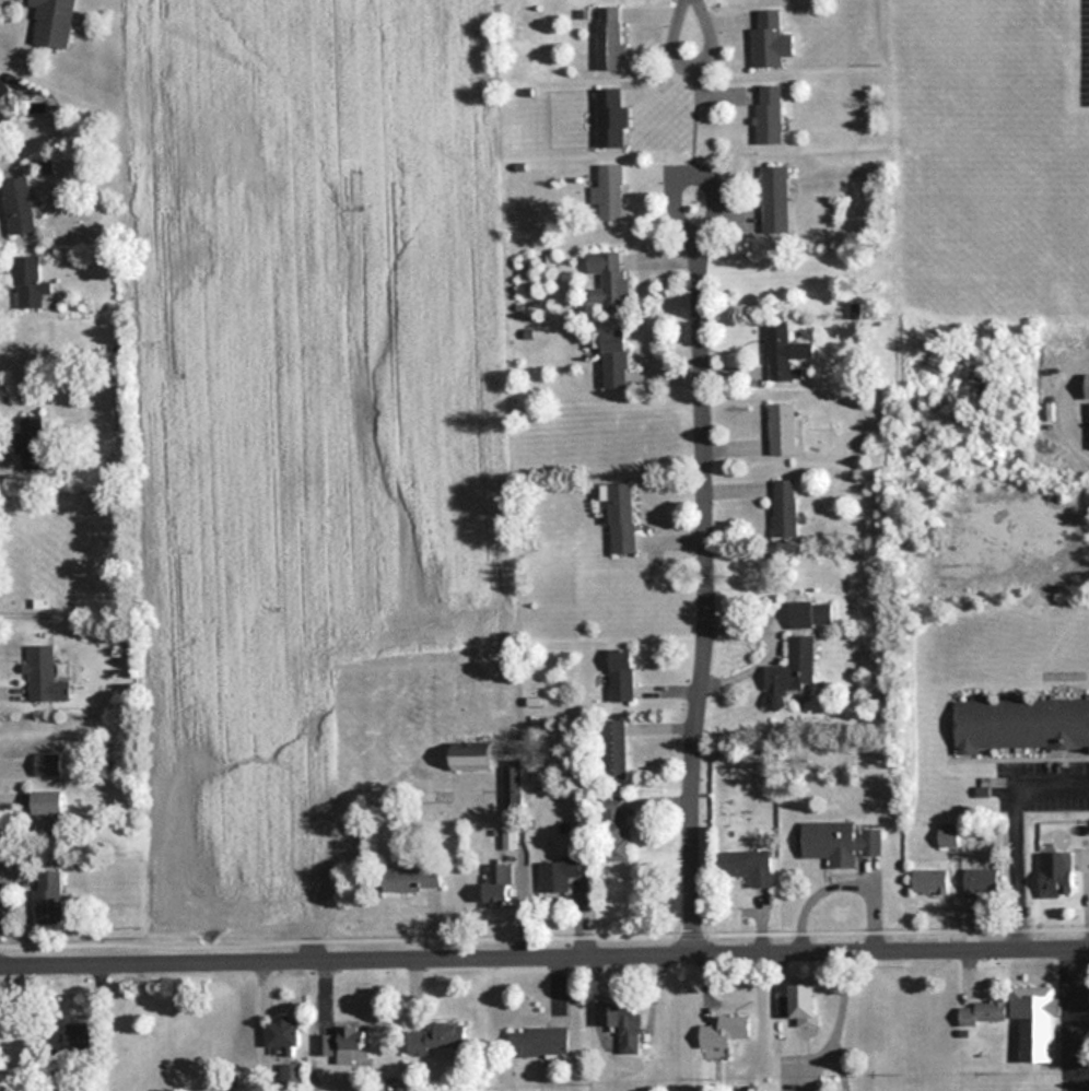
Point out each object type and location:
building: (54, 23)
building: (610, 38)
building: (768, 40)
road: (693, 57)
building: (2, 90)
road: (694, 107)
building: (770, 115)
building: (611, 119)
building: (2, 125)
building: (610, 193)
building: (776, 200)
building: (19, 207)
building: (609, 280)
building: (30, 284)
building: (778, 352)
building: (614, 360)
building: (1087, 387)
building: (783, 429)
building: (30, 434)
building: (785, 506)
road: (705, 508)
building: (620, 515)
building: (811, 613)
building: (795, 665)
building: (621, 673)
building: (44, 676)
building: (1020, 723)
building: (616, 749)
building: (472, 758)
building: (48, 764)
building: (513, 788)
building: (48, 811)
building: (617, 828)
road: (1012, 833)
building: (840, 842)
building: (748, 865)
building: (561, 872)
building: (1056, 873)
building: (413, 878)
building: (930, 880)
building: (501, 881)
building: (982, 881)
building: (48, 898)
road: (544, 960)
building: (799, 1004)
building: (983, 1012)
building: (1035, 1021)
building: (625, 1022)
building: (725, 1030)
building: (283, 1031)
building: (437, 1037)
building: (70, 1040)
building: (341, 1040)
building: (539, 1041)
building: (292, 1075)
building: (808, 1090)

